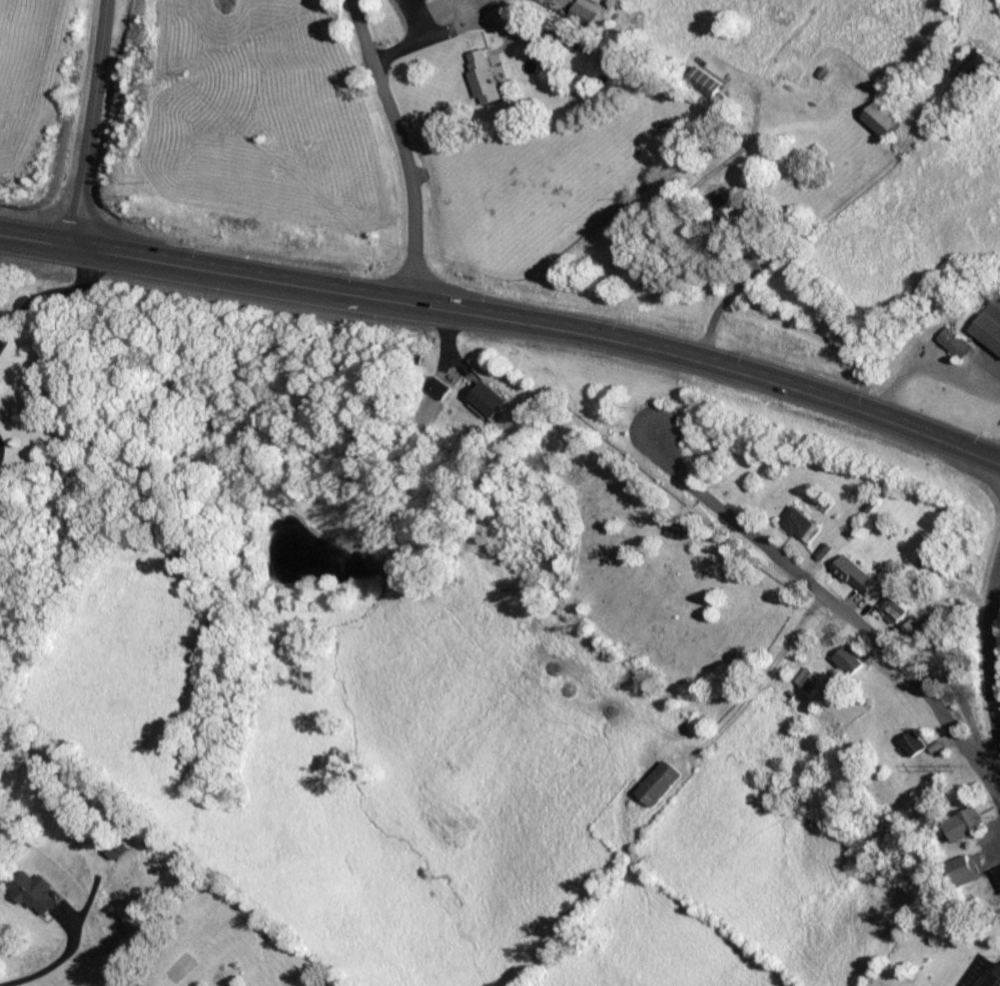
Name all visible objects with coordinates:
building: (588, 10)
building: (605, 51)
building: (483, 75)
building: (708, 81)
building: (887, 118)
road: (83, 123)
road: (401, 148)
building: (728, 208)
road: (46, 291)
road: (507, 321)
building: (989, 322)
building: (953, 342)
building: (440, 386)
building: (492, 397)
road: (1, 451)
building: (797, 521)
building: (857, 573)
road: (820, 594)
building: (894, 609)
building: (921, 629)
road: (990, 654)
building: (849, 658)
building: (806, 679)
building: (916, 742)
building: (657, 783)
building: (967, 823)
building: (967, 870)
building: (998, 873)
building: (31, 892)

